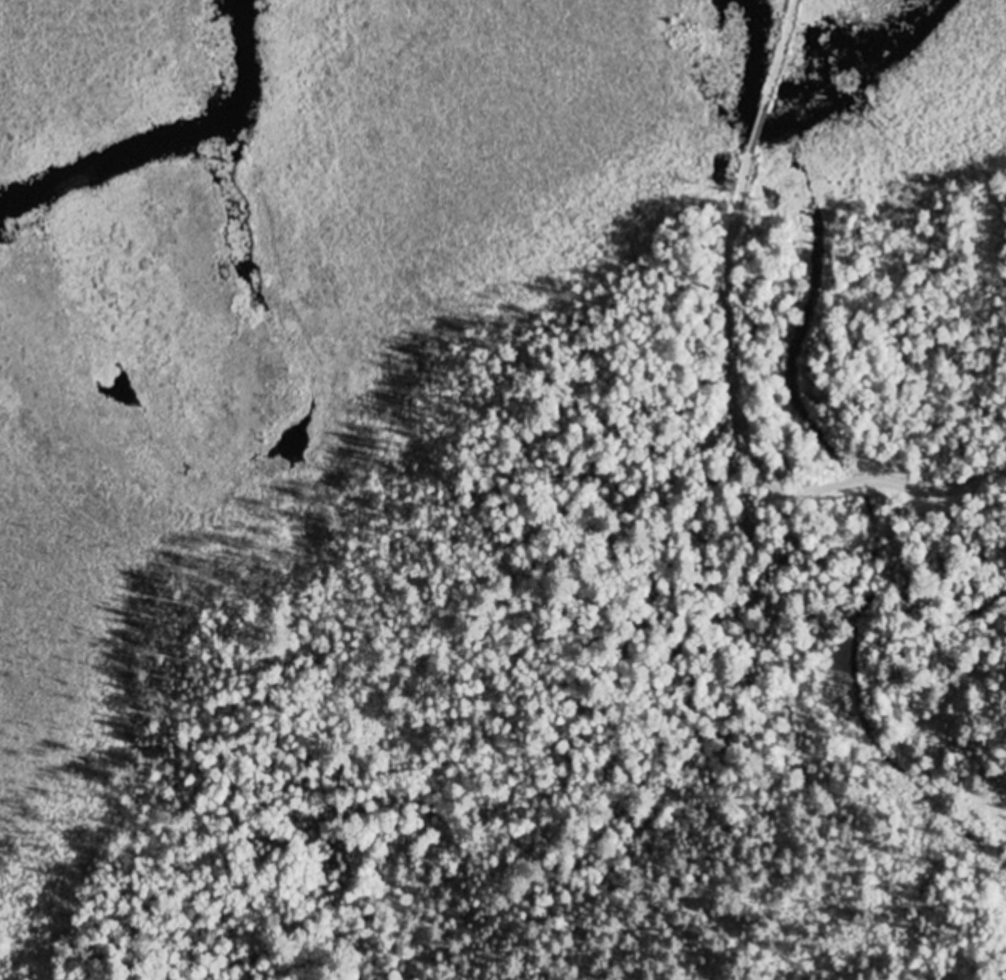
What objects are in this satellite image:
road: (788, 28)
road: (763, 112)
road: (750, 449)

